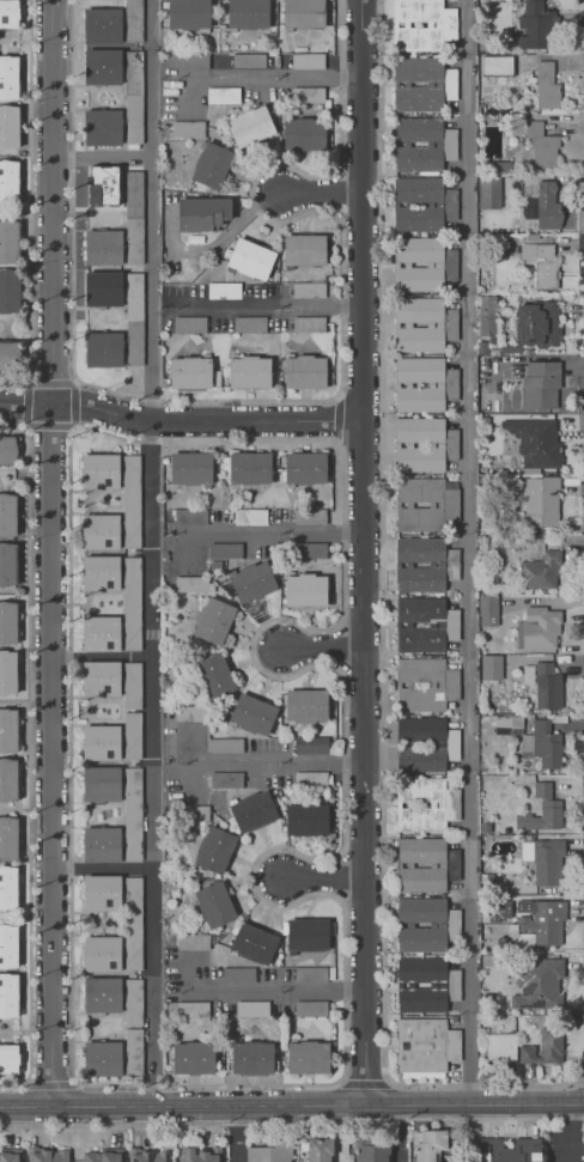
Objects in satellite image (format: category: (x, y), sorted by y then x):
building: (8, 13)
building: (188, 13)
building: (247, 13)
building: (303, 13)
building: (133, 23)
building: (421, 24)
building: (102, 25)
building: (536, 25)
building: (248, 59)
building: (189, 60)
building: (306, 60)
building: (497, 65)
building: (102, 66)
building: (8, 77)
road: (260, 77)
building: (421, 84)
building: (546, 85)
building: (308, 93)
building: (223, 95)
building: (133, 97)
building: (8, 126)
building: (250, 126)
building: (102, 127)
building: (187, 128)
building: (303, 133)
building: (422, 142)
building: (541, 145)
road: (107, 159)
building: (211, 164)
building: (8, 180)
building: (103, 184)
building: (488, 191)
road: (322, 196)
road: (30, 203)
building: (422, 203)
building: (543, 205)
building: (201, 212)
building: (133, 215)
road: (232, 230)
building: (8, 241)
building: (103, 247)
building: (303, 249)
building: (250, 257)
building: (541, 263)
building: (421, 264)
building: (8, 288)
building: (103, 288)
building: (308, 288)
building: (224, 291)
road: (257, 303)
building: (487, 314)
building: (133, 318)
building: (308, 323)
building: (422, 323)
building: (536, 323)
building: (189, 324)
building: (249, 324)
building: (103, 348)
building: (10, 353)
building: (189, 371)
building: (249, 371)
building: (304, 371)
building: (424, 383)
road: (25, 384)
building: (541, 384)
road: (336, 418)
road: (180, 420)
building: (535, 440)
building: (420, 445)
building: (7, 450)
building: (190, 467)
building: (249, 467)
building: (304, 467)
building: (97, 469)
building: (128, 498)
building: (540, 500)
building: (424, 504)
building: (7, 513)
building: (190, 515)
building: (250, 515)
building: (309, 516)
building: (97, 529)
road: (275, 531)
building: (225, 549)
building: (309, 549)
road: (470, 552)
road: (153, 553)
road: (364, 553)
road: (59, 554)
building: (7, 564)
building: (424, 564)
building: (99, 571)
building: (540, 571)
building: (251, 582)
building: (194, 583)
building: (305, 589)
building: (130, 598)
building: (488, 609)
building: (213, 620)
building: (7, 622)
building: (535, 622)
building: (424, 623)
building: (99, 631)
road: (383, 638)
road: (324, 646)
road: (107, 656)
building: (491, 667)
building: (7, 671)
building: (528, 674)
building: (215, 675)
building: (101, 677)
building: (424, 683)
building: (546, 683)
building: (132, 685)
building: (305, 705)
building: (251, 713)
building: (507, 724)
building: (7, 729)
building: (130, 735)
building: (101, 742)
building: (425, 743)
building: (546, 743)
building: (225, 744)
building: (310, 744)
road: (28, 755)
building: (8, 779)
building: (225, 779)
building: (310, 779)
building: (101, 783)
building: (424, 804)
building: (541, 809)
building: (253, 810)
building: (132, 811)
building: (306, 819)
building: (7, 838)
building: (101, 844)
building: (214, 848)
building: (525, 850)
building: (547, 862)
building: (421, 864)
building: (454, 864)
road: (107, 869)
road: (323, 876)
building: (8, 887)
building: (101, 892)
building: (214, 904)
building: (498, 909)
building: (542, 918)
building: (132, 924)
building: (437, 924)
building: (452, 924)
building: (308, 932)
building: (191, 941)
building: (254, 942)
building: (8, 945)
building: (101, 953)
building: (238, 973)
building: (310, 974)
building: (537, 982)
building: (420, 984)
building: (452, 984)
road: (275, 991)
building: (8, 994)
building: (102, 994)
building: (132, 1000)
building: (191, 1008)
building: (251, 1008)
building: (310, 1008)
building: (425, 1046)
building: (500, 1046)
building: (542, 1047)
building: (133, 1050)
building: (308, 1055)
building: (193, 1057)
building: (251, 1057)
building: (8, 1058)
building: (102, 1058)
road: (583, 1079)
road: (291, 1107)
road: (292, 1120)
road: (572, 1132)
road: (457, 1133)
road: (238, 1134)
road: (340, 1134)
road: (402, 1134)
building: (427, 1144)
building: (318, 1149)
building: (513, 1149)
building: (583, 1150)
building: (269, 1152)
building: (371, 1152)
building: (199, 1154)
building: (10, 1155)
building: (48, 1155)
building: (102, 1155)
building: (148, 1155)

